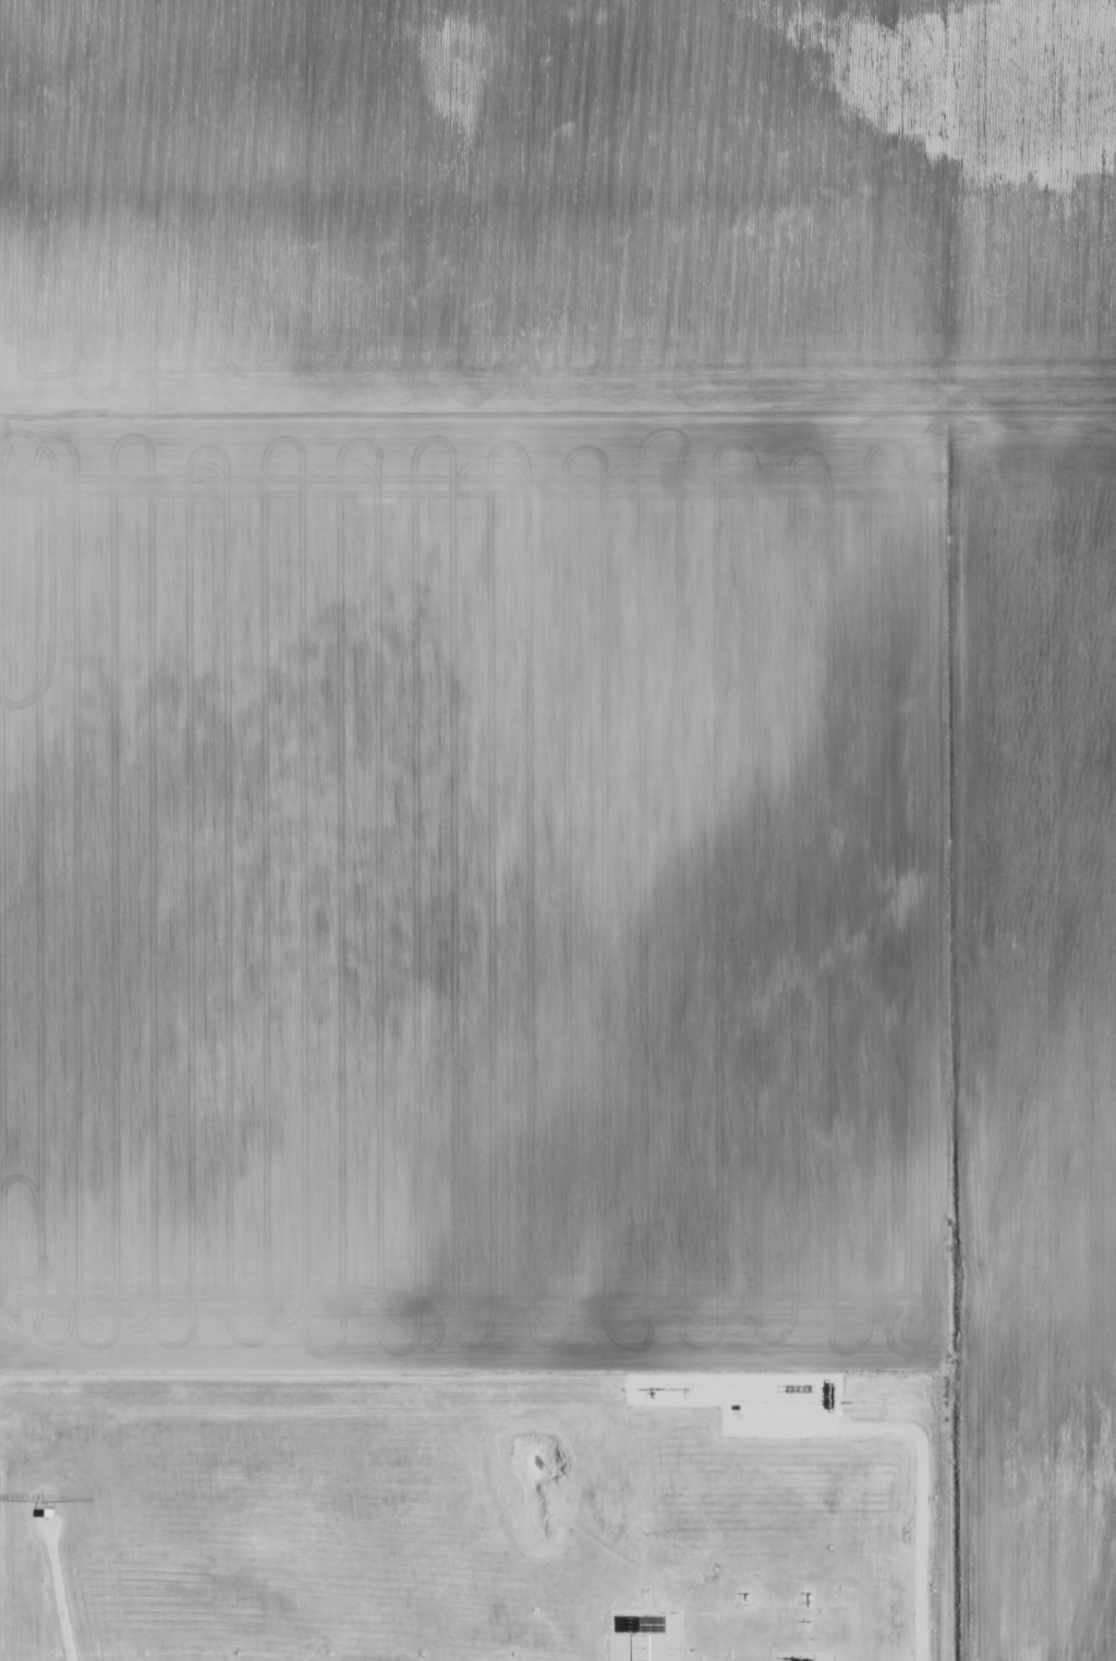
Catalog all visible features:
road: (535, 1399)

